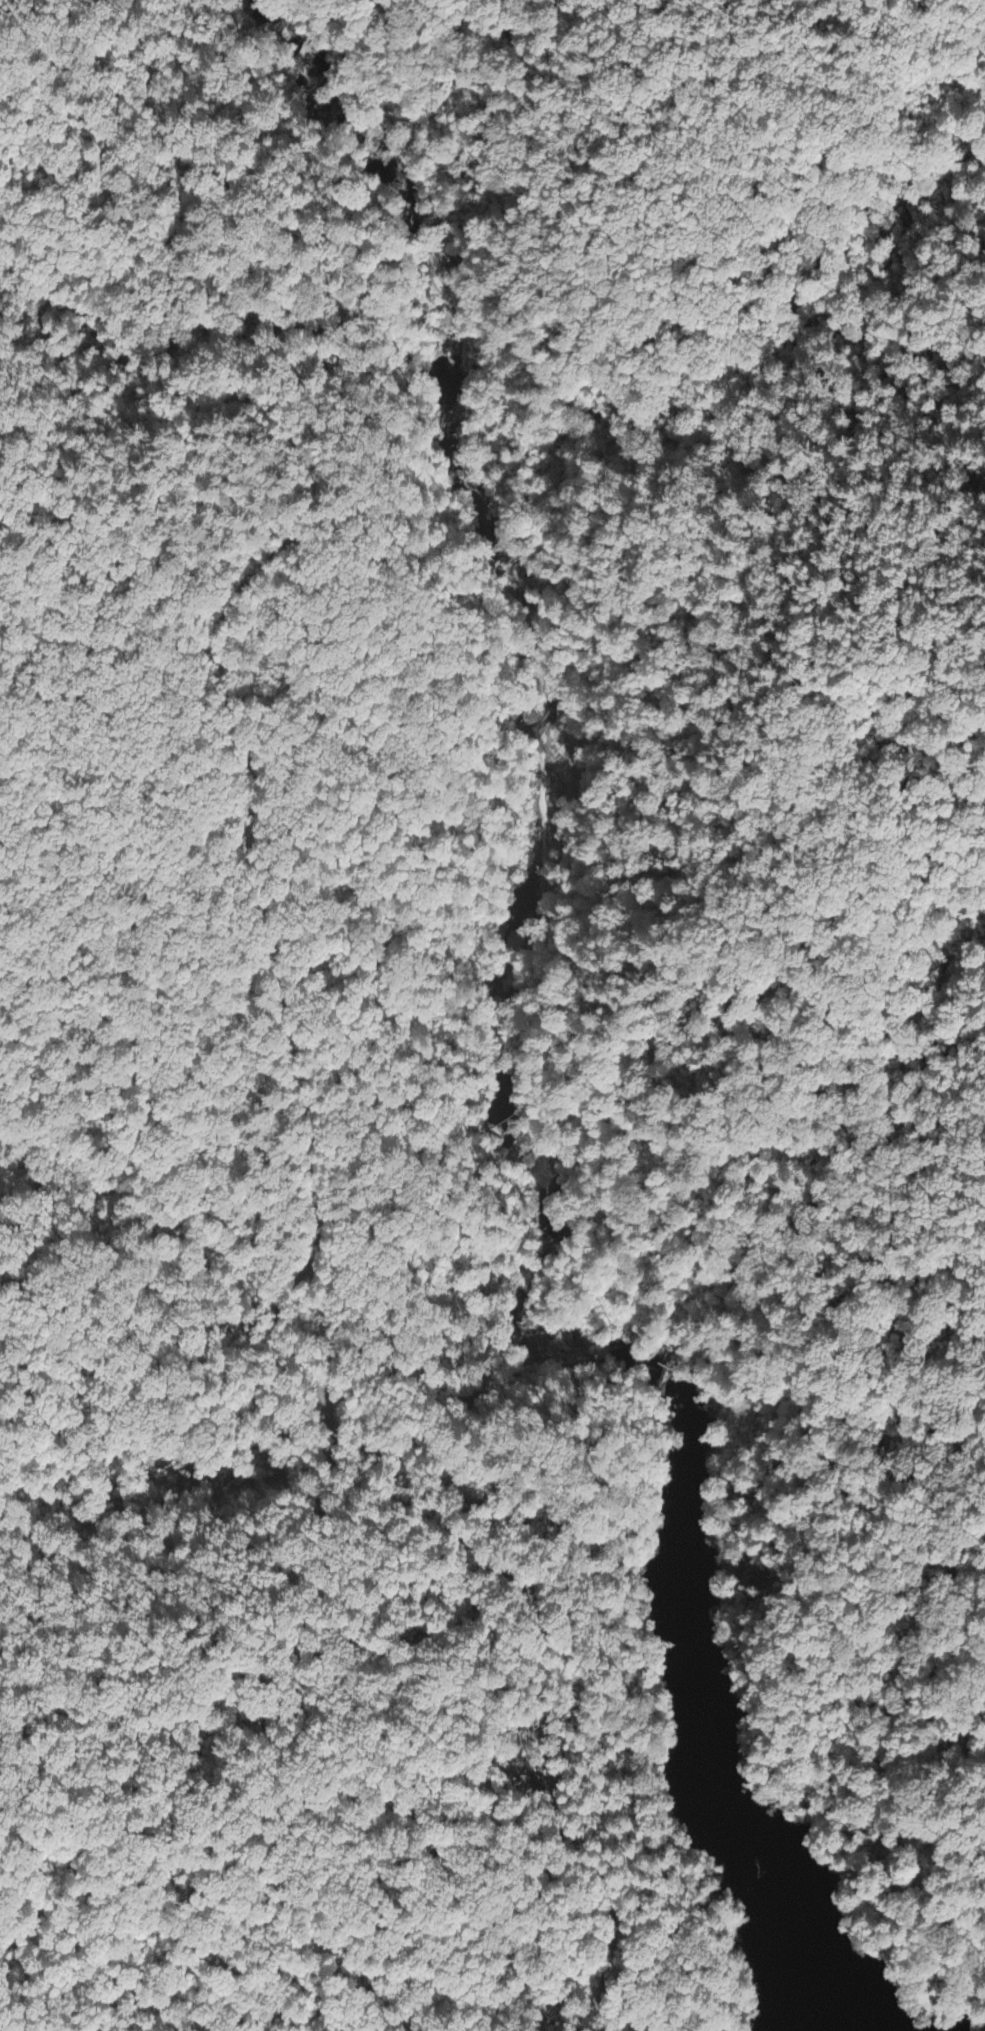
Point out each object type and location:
river: (544, 730)
road: (254, 882)
road: (612, 1989)

